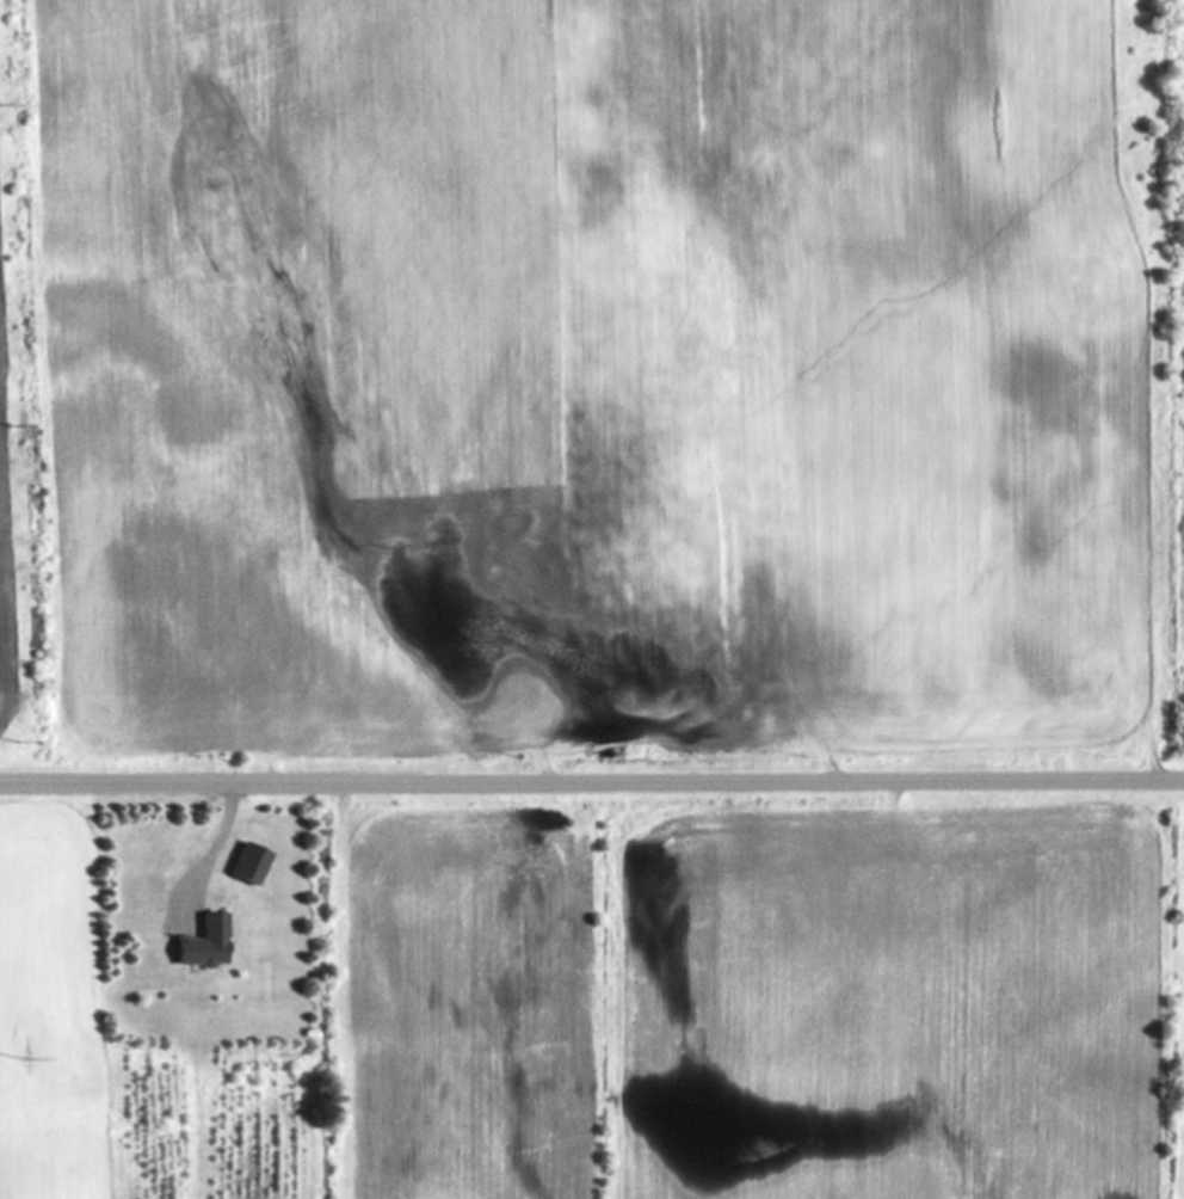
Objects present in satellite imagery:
power tower: (4, 103)
power tower: (8, 425)
power tower: (16, 744)
road: (591, 781)
building: (248, 862)
building: (201, 942)
power tower: (24, 1052)

